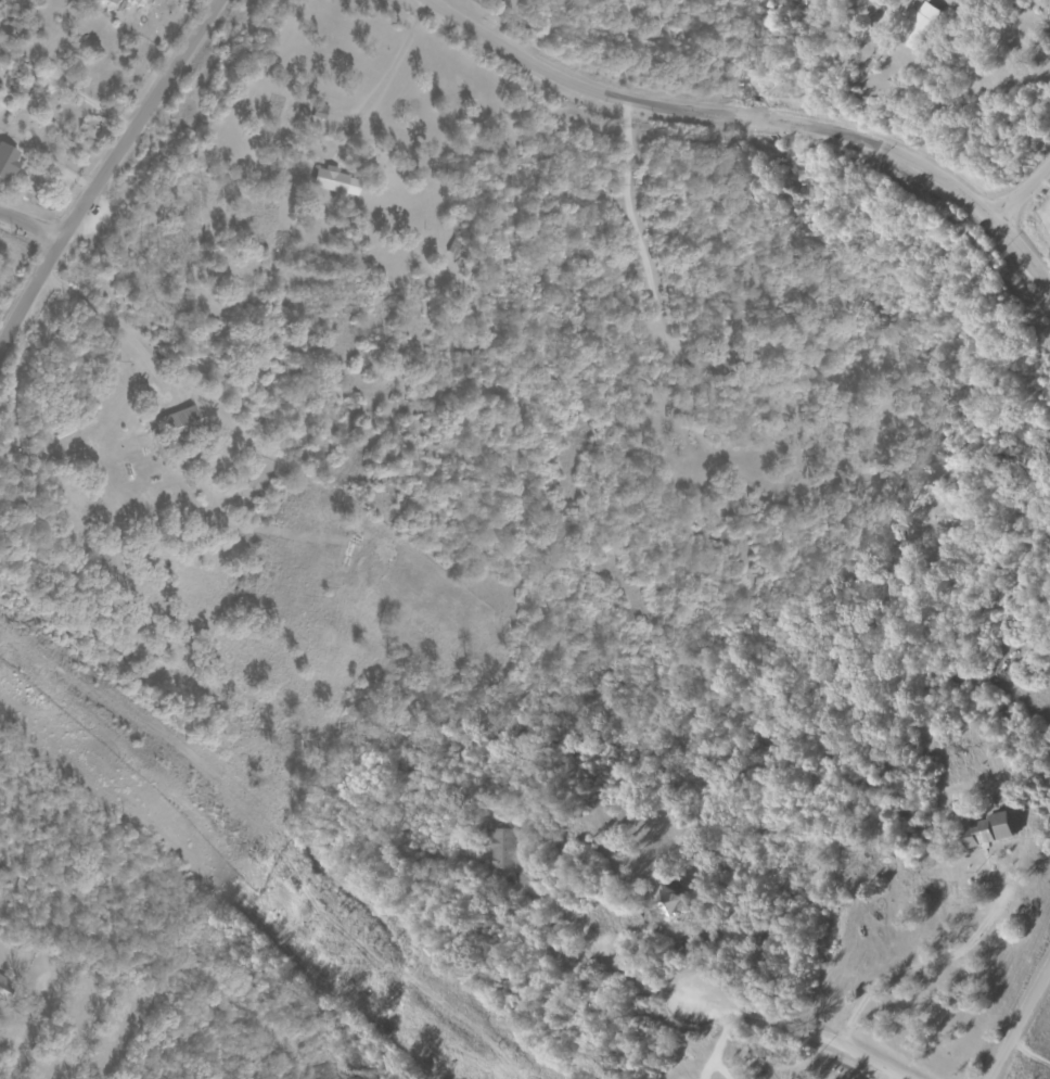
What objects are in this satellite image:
building: (113, 1)
building: (917, 25)
road: (1006, 29)
road: (390, 56)
road: (754, 119)
building: (8, 161)
road: (107, 172)
building: (335, 180)
road: (1021, 191)
road: (633, 223)
road: (28, 230)
road: (1040, 259)
road: (112, 321)
building: (180, 423)
building: (999, 829)
building: (503, 848)
building: (675, 900)
road: (172, 967)
road: (918, 968)
building: (4, 990)
road: (1016, 1019)
road: (797, 1030)

